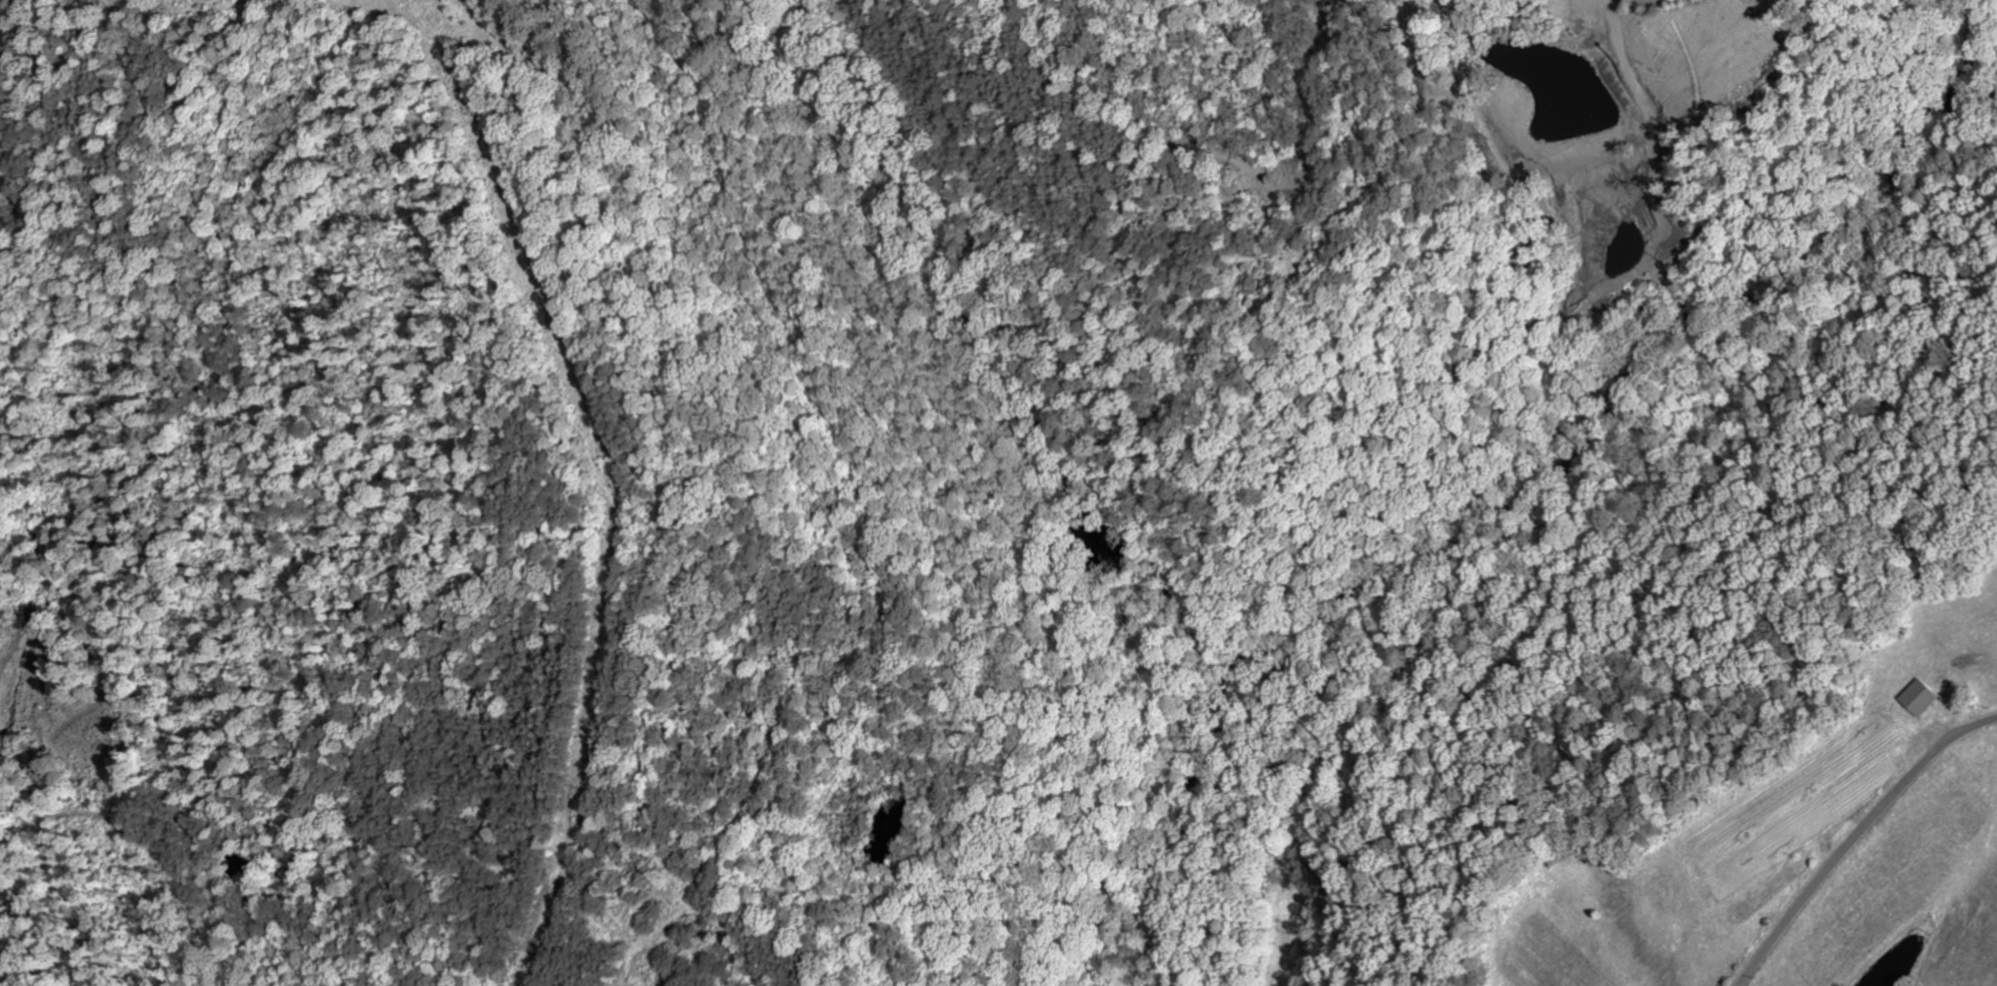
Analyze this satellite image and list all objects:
building: (1916, 699)
road: (1856, 838)

